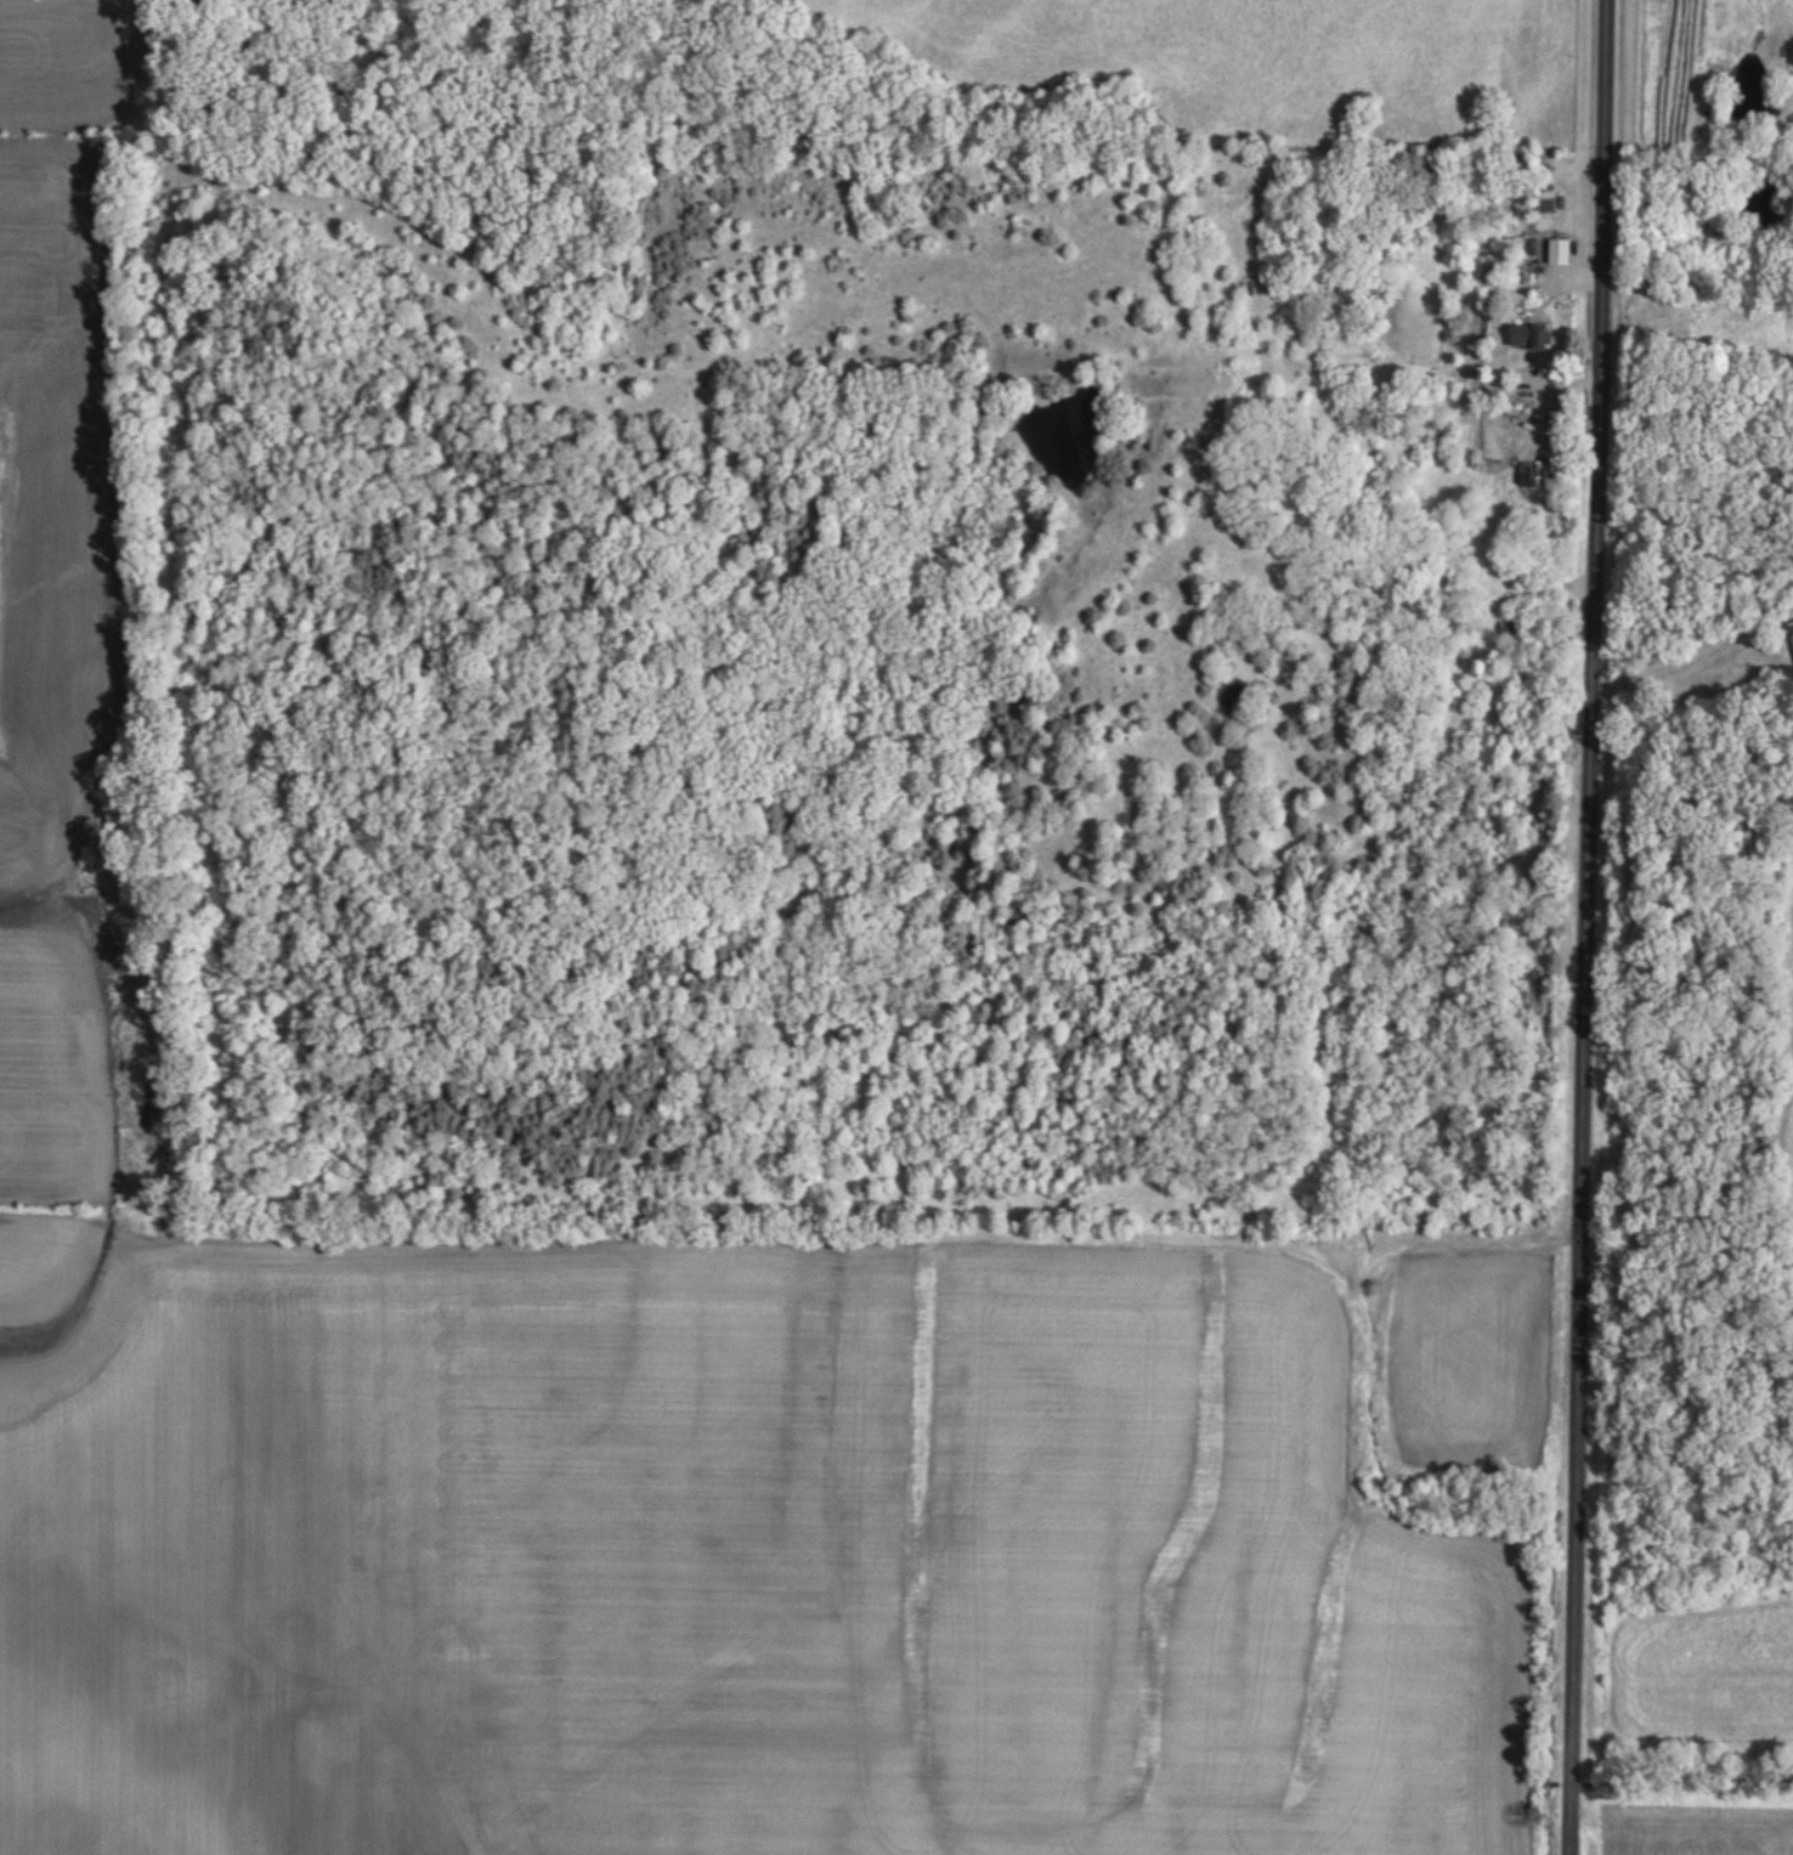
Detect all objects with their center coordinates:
building: (1559, 251)
building: (1529, 336)
building: (1511, 629)
building: (1791, 629)
road: (1578, 927)

